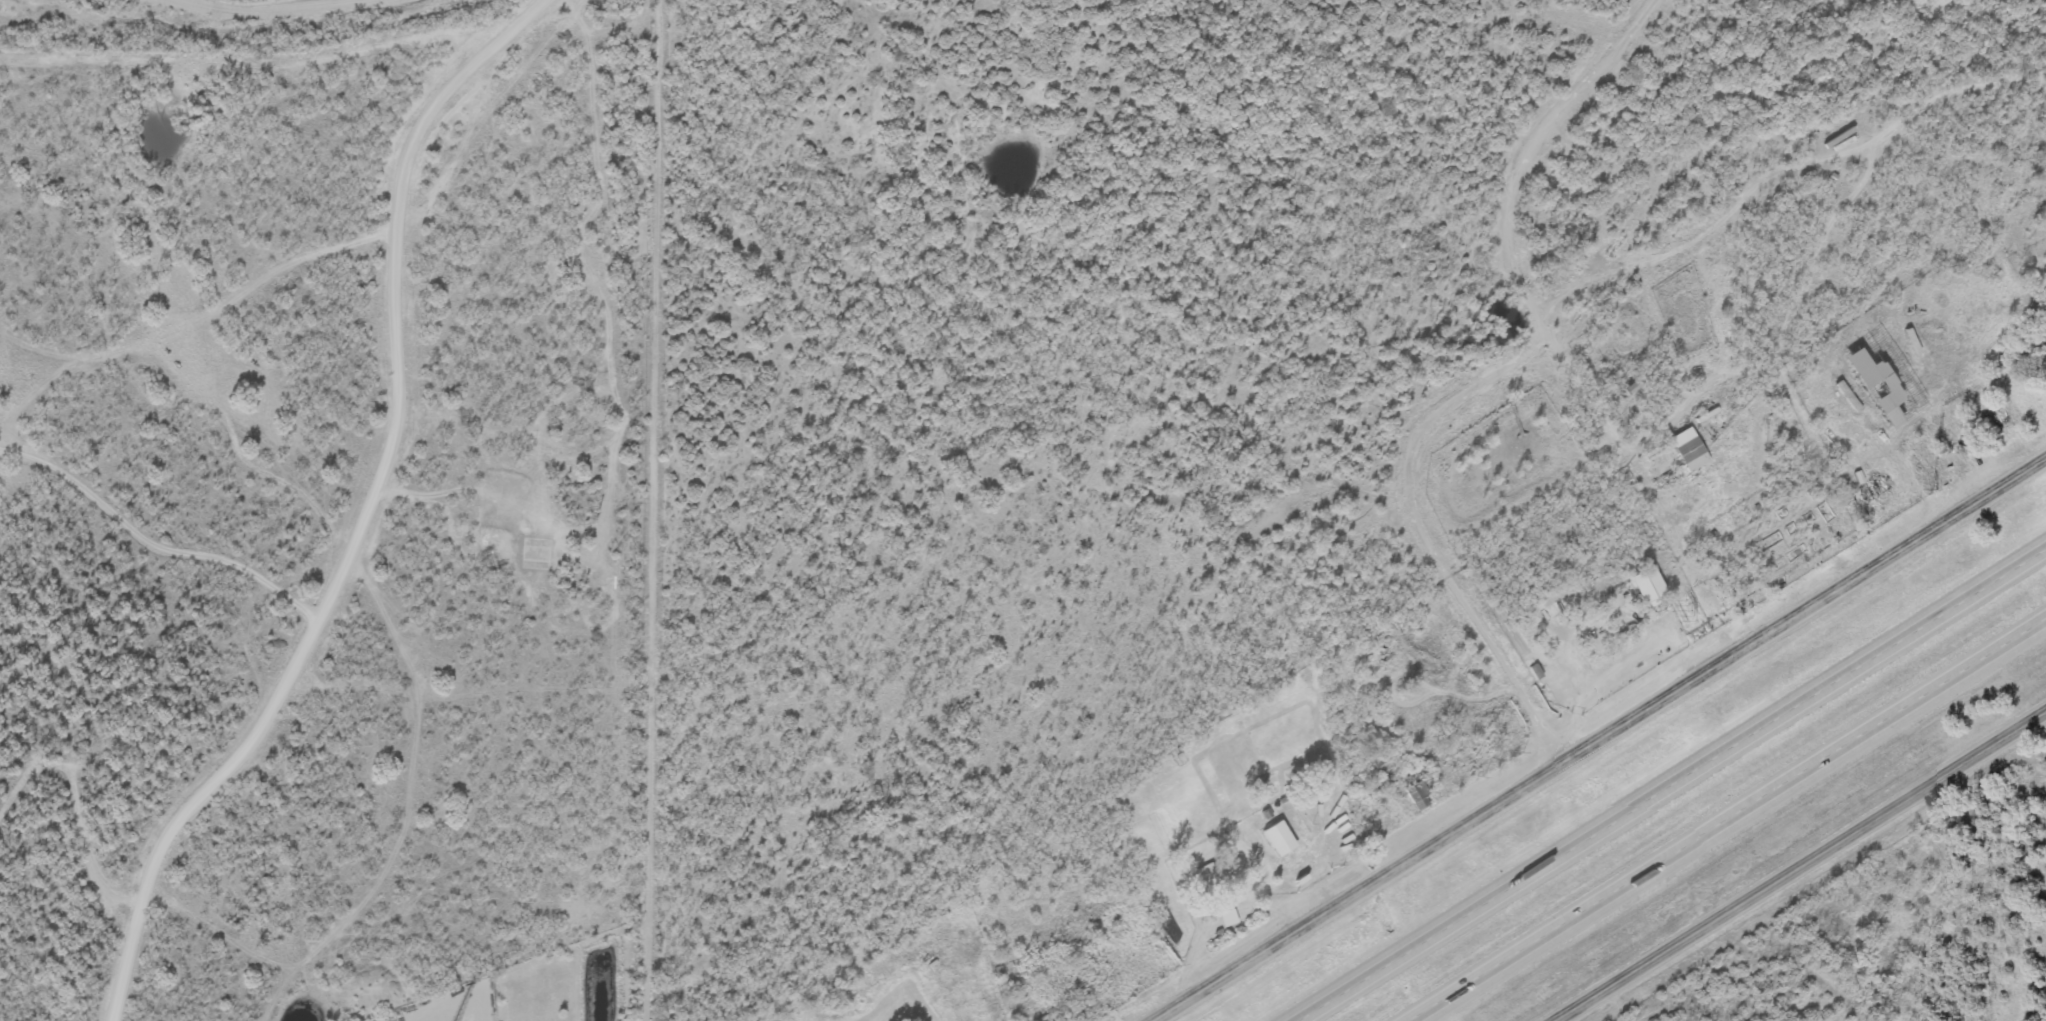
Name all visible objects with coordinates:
building: (1837, 145)
building: (1881, 384)
building: (1626, 387)
building: (1844, 395)
building: (1685, 449)
road: (1861, 453)
building: (1873, 488)
road: (655, 510)
road: (370, 514)
road: (155, 546)
building: (1642, 584)
road: (1597, 740)
building: (1510, 743)
road: (1671, 786)
building: (1416, 798)
road: (1725, 818)
building: (1275, 838)
road: (1794, 861)
building: (1207, 875)
building: (1225, 918)
building: (1153, 947)

